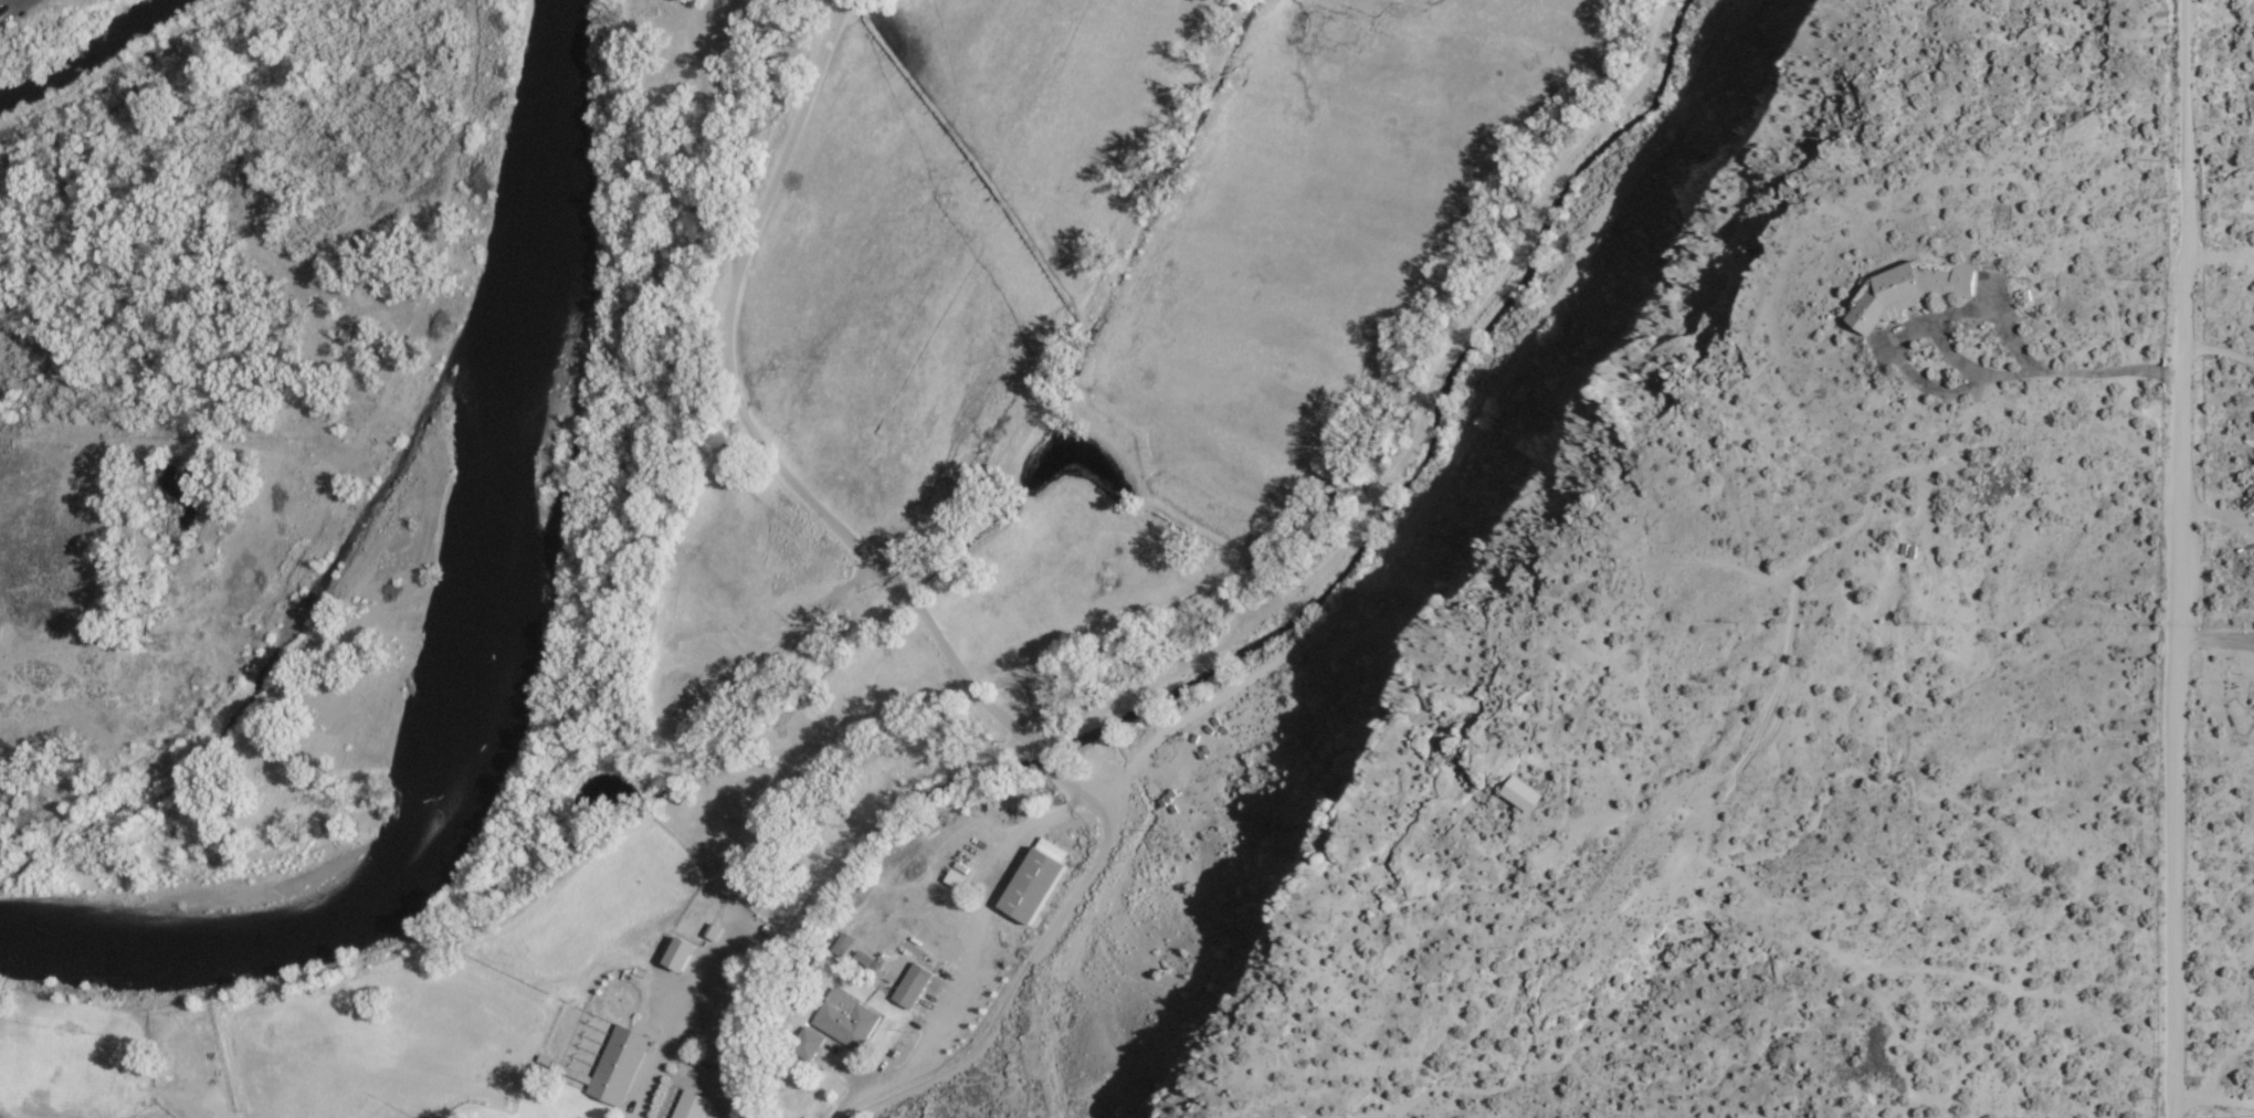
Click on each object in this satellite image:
river: (88, 53)
road: (699, 139)
road: (2220, 259)
crop: (1108, 282)
building: (1909, 293)
road: (2008, 331)
road: (2220, 351)
road: (1952, 357)
road: (1966, 388)
road: (380, 408)
road: (748, 432)
road: (1463, 439)
road: (2245, 511)
road: (2219, 518)
road: (2181, 559)
road: (1233, 609)
road: (1254, 624)
road: (799, 632)
road: (2218, 642)
river: (489, 656)
building: (684, 694)
building: (1523, 797)
building: (1034, 883)
building: (714, 934)
building: (842, 946)
building: (680, 956)
road: (969, 962)
road: (1026, 967)
building: (867, 968)
building: (913, 988)
building: (846, 1021)
building: (807, 1045)
crop: (284, 1048)
road: (660, 1059)
road: (2223, 1063)
building: (611, 1067)
road: (2213, 1101)
building: (692, 1106)

